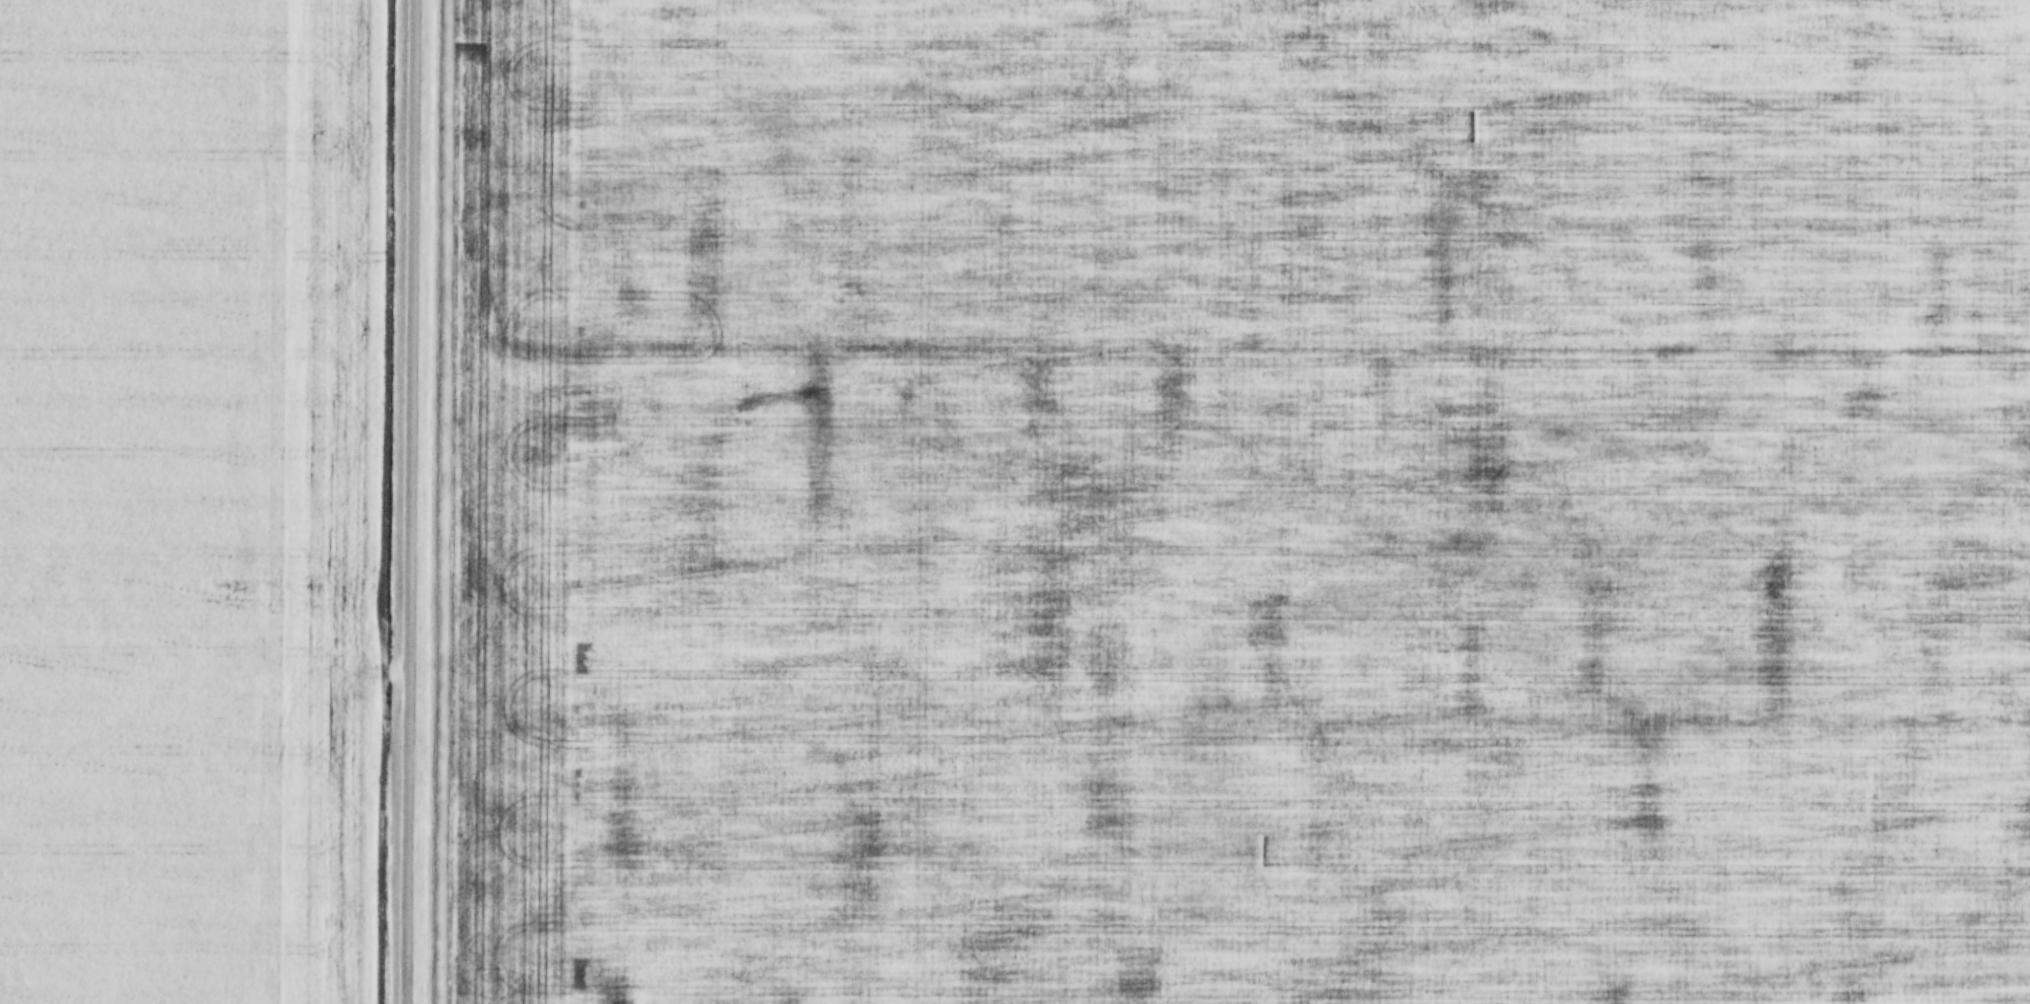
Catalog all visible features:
road: (408, 502)

